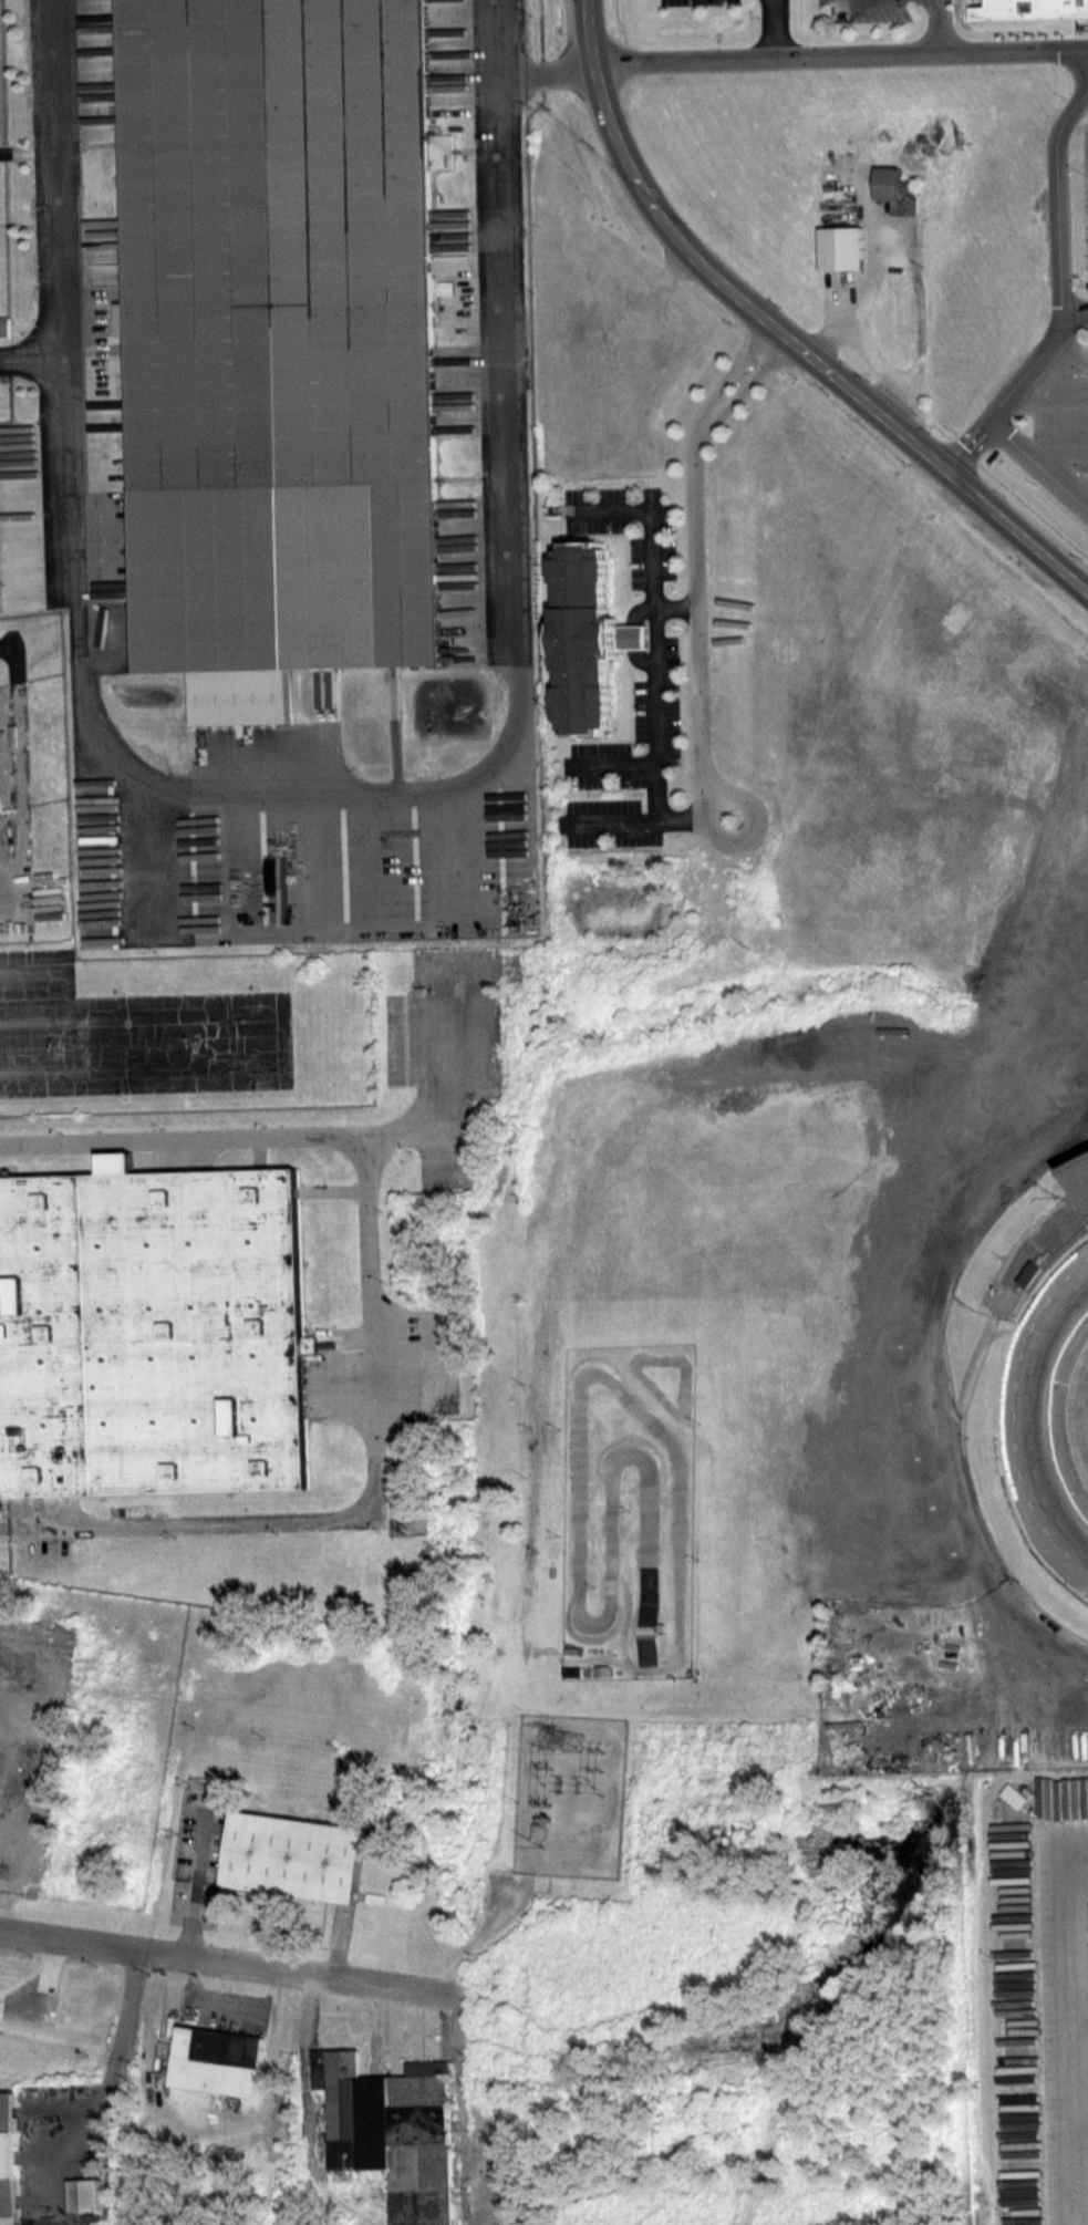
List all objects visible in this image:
building: (1029, 9)
road: (937, 27)
road: (775, 29)
road: (587, 32)
road: (496, 40)
road: (840, 56)
road: (46, 204)
building: (290, 266)
road: (1060, 296)
road: (1074, 312)
parking lot: (1067, 344)
road: (806, 353)
road: (1038, 464)
building: (258, 577)
road: (700, 625)
building: (581, 631)
road: (39, 638)
road: (657, 721)
road: (618, 764)
road: (484, 774)
building: (1, 801)
road: (615, 821)
road: (7, 888)
building: (1043, 1255)
stadium: (806, 1276)
road: (367, 1328)
building: (153, 1332)
raceway: (684, 1414)
raceway: (1036, 1419)
raceway: (578, 1524)
power tower: (571, 1738)
power substation: (568, 1795)
building: (294, 1855)
road: (224, 1960)
road: (1081, 2009)
road: (1076, 2021)
building: (219, 2060)
building: (393, 2130)
building: (10, 2154)

